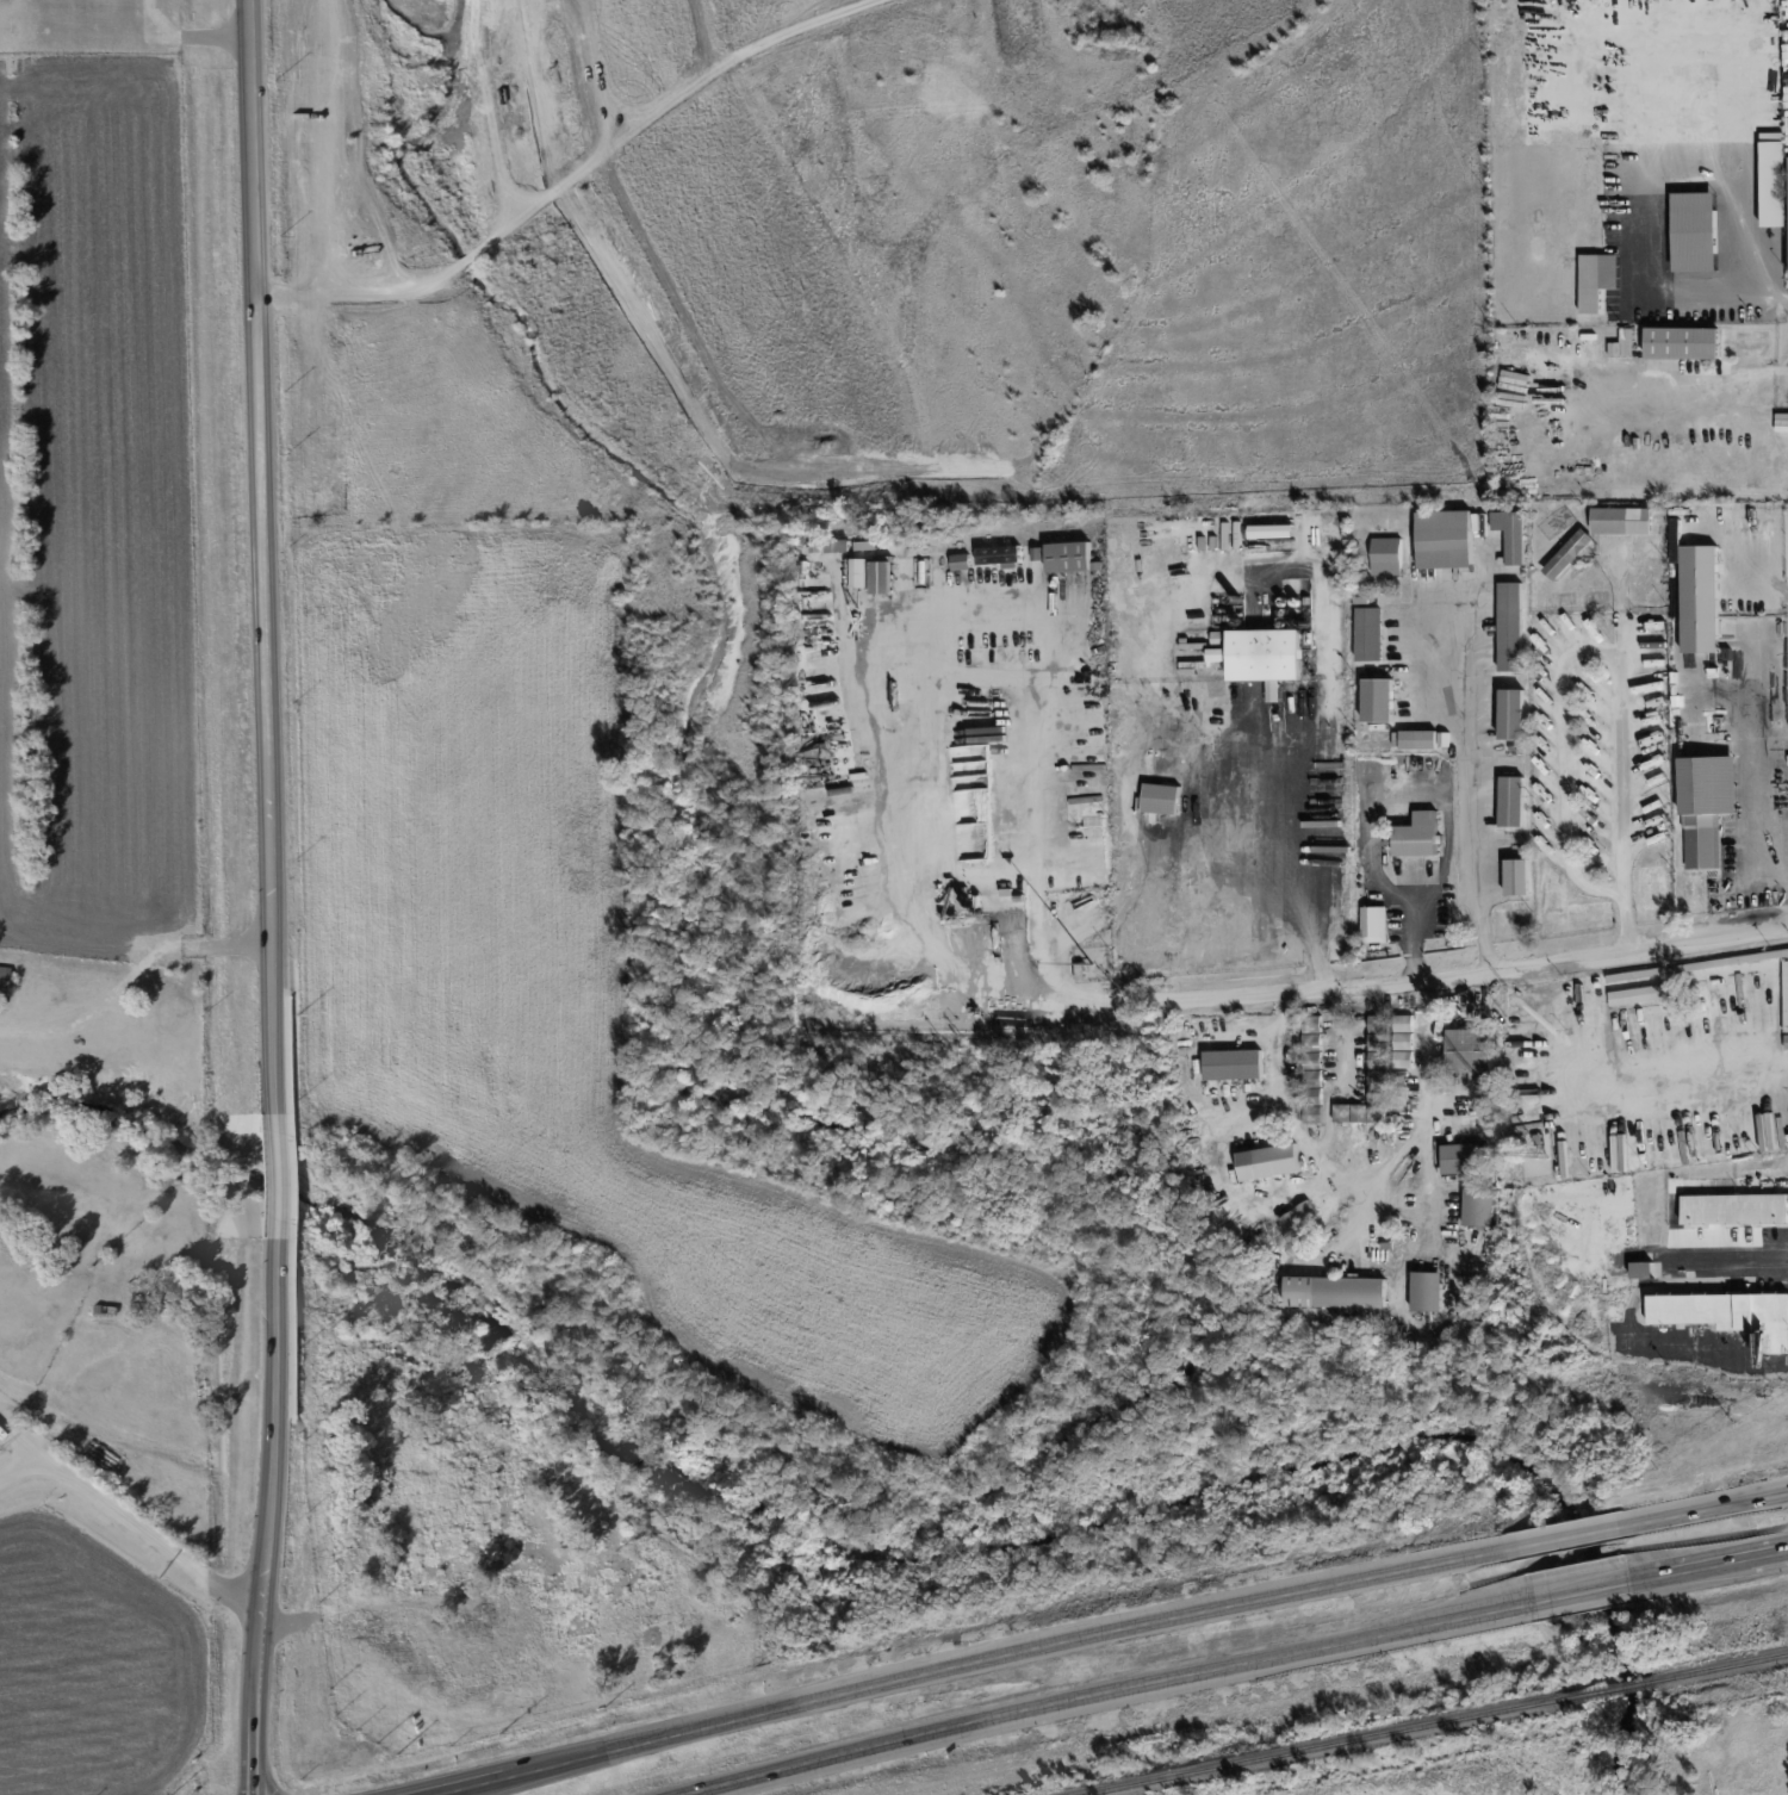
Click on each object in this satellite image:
road: (1635, 107)
road: (572, 179)
building: (1773, 179)
building: (1694, 231)
building: (1596, 280)
road: (1771, 299)
building: (1682, 343)
building: (1621, 344)
road: (1776, 378)
road: (1783, 378)
road: (1712, 385)
building: (1622, 521)
building: (1511, 534)
building: (1445, 539)
building: (838, 546)
road: (263, 554)
building: (999, 554)
building: (1567, 554)
building: (1069, 557)
building: (1386, 557)
building: (873, 574)
building: (1699, 598)
road: (1621, 601)
building: (1510, 627)
building: (1370, 634)
road: (1603, 651)
road: (931, 652)
building: (1218, 654)
building: (1266, 657)
building: (1378, 700)
building: (1513, 714)
building: (1418, 739)
road: (1751, 766)
road: (1471, 781)
building: (1161, 799)
building: (1510, 801)
building: (1706, 807)
building: (1417, 836)
road: (1298, 840)
building: (1516, 877)
building: (1374, 924)
road: (1414, 926)
road: (1415, 968)
road: (1453, 977)
building: (1470, 1050)
building: (1233, 1064)
building: (1312, 1069)
road: (1695, 1075)
road: (1343, 1077)
building: (1359, 1113)
building: (1460, 1159)
building: (1277, 1160)
road: (273, 1176)
road: (1361, 1181)
building: (1478, 1207)
building: (1734, 1209)
building: (1641, 1269)
building: (1427, 1291)
building: (1335, 1292)
building: (1727, 1313)
road: (1706, 1356)
road: (19, 1442)
road: (19, 1470)
road: (1711, 1508)
road: (267, 1518)
road: (149, 1535)
road: (1569, 1535)
road: (1709, 1565)
road: (1582, 1591)
road: (963, 1667)
railway: (1720, 1667)
railway: (1609, 1690)
road: (1113, 1694)
railway: (1329, 1747)

